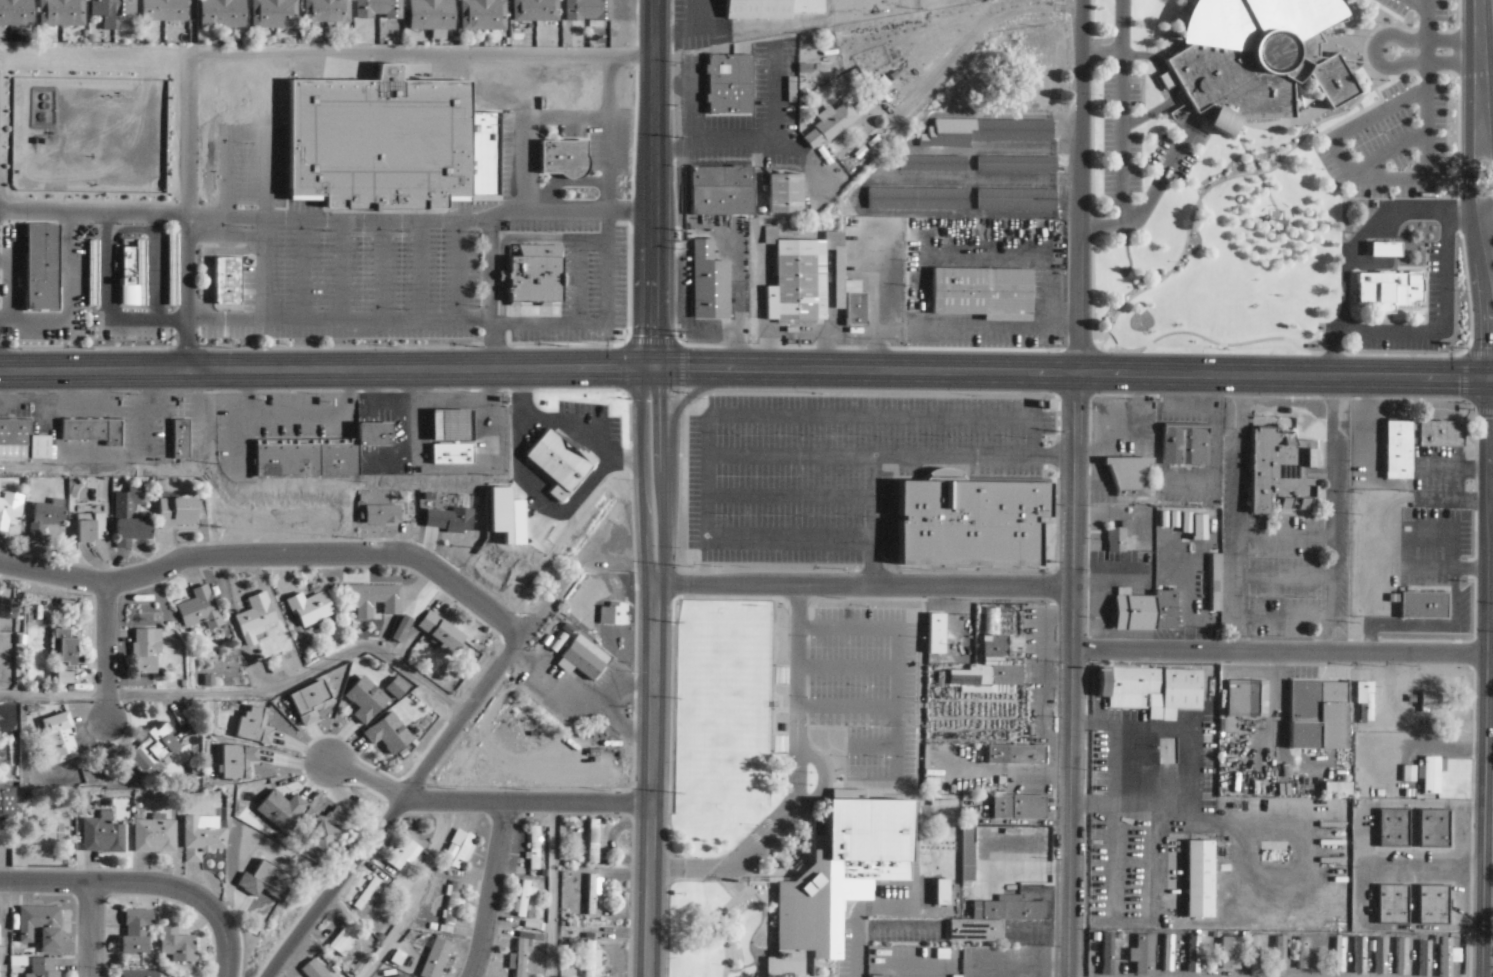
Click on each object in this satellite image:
road: (1353, 2)
road: (1416, 4)
building: (768, 8)
building: (379, 9)
building: (112, 11)
building: (164, 11)
building: (536, 11)
building: (589, 11)
building: (327, 12)
building: (16, 14)
building: (61, 14)
building: (222, 14)
building: (275, 14)
building: (431, 15)
building: (484, 16)
road: (1437, 33)
road: (968, 40)
road: (1092, 40)
road: (1099, 44)
road: (1427, 47)
road: (1102, 53)
road: (326, 54)
building: (1254, 58)
road: (1448, 64)
road: (1156, 68)
road: (1089, 71)
road: (1478, 71)
road: (654, 74)
road: (1173, 76)
road: (1093, 78)
building: (882, 81)
building: (728, 84)
road: (1173, 88)
road: (1486, 88)
building: (790, 89)
building: (875, 90)
road: (1144, 105)
road: (1129, 111)
road: (1122, 113)
parking lot: (1398, 114)
building: (828, 124)
building: (985, 131)
building: (388, 143)
road: (1487, 150)
parking lot: (1139, 155)
building: (562, 159)
building: (933, 163)
building: (1017, 164)
road: (1359, 176)
road: (1468, 179)
road: (1080, 186)
building: (719, 190)
road: (1153, 191)
building: (783, 193)
building: (917, 198)
road: (1460, 198)
building: (1016, 199)
road: (1488, 206)
road: (187, 212)
building: (1383, 250)
road: (1490, 257)
building: (40, 267)
building: (127, 267)
building: (171, 270)
building: (92, 273)
building: (534, 275)
building: (225, 280)
building: (135, 281)
building: (708, 282)
building: (811, 282)
building: (1388, 290)
building: (981, 292)
road: (1174, 334)
road: (642, 366)
road: (661, 366)
traffic signals: (643, 370)
traffic signals: (662, 370)
road: (746, 370)
traffic signals: (1490, 380)
road: (696, 391)
road: (749, 416)
building: (447, 426)
building: (92, 434)
building: (1440, 436)
building: (179, 438)
building: (21, 443)
building: (1186, 449)
building: (1397, 452)
building: (449, 453)
building: (317, 454)
road: (892, 457)
building: (557, 459)
parking lot: (837, 469)
building: (1280, 471)
building: (1128, 476)
road: (789, 497)
building: (8, 512)
building: (175, 512)
building: (383, 516)
building: (969, 519)
building: (446, 521)
road: (871, 521)
building: (43, 522)
building: (1198, 527)
building: (132, 532)
building: (90, 534)
building: (1114, 539)
road: (270, 555)
building: (1213, 582)
road: (862, 585)
road: (1487, 595)
road: (909, 597)
building: (372, 602)
building: (1422, 605)
road: (788, 609)
building: (5, 610)
building: (197, 610)
building: (309, 610)
building: (1144, 611)
building: (612, 613)
building: (255, 620)
road: (1490, 622)
building: (400, 630)
building: (934, 634)
building: (441, 637)
building: (146, 643)
building: (1001, 645)
building: (63, 653)
road: (105, 653)
road: (1278, 653)
road: (636, 654)
building: (580, 658)
building: (144, 668)
road: (1070, 674)
parking lot: (869, 686)
building: (1149, 690)
road: (247, 692)
road: (580, 698)
building: (1245, 699)
building: (1428, 701)
building: (1364, 702)
building: (306, 704)
road: (469, 706)
building: (945, 710)
road: (1489, 713)
building: (1317, 715)
park: (726, 722)
building: (252, 727)
building: (58, 737)
road: (847, 743)
building: (149, 746)
building: (1015, 754)
building: (235, 763)
building: (1432, 771)
road: (368, 777)
road: (796, 778)
road: (651, 781)
road: (822, 781)
building: (6, 800)
road: (527, 802)
building: (1017, 807)
building: (279, 809)
building: (1393, 825)
building: (1433, 826)
building: (321, 831)
building: (154, 832)
building: (103, 833)
building: (202, 835)
building: (594, 839)
building: (534, 846)
building: (461, 848)
building: (404, 851)
building: (966, 854)
building: (839, 872)
building: (1199, 876)
building: (263, 882)
road: (105, 884)
road: (334, 886)
road: (488, 890)
building: (367, 891)
building: (940, 892)
building: (592, 893)
building: (524, 897)
building: (1392, 903)
building: (1432, 903)
building: (451, 907)
building: (993, 918)
building: (40, 925)
building: (134, 929)
road: (0, 930)
road: (88, 930)
park: (720, 931)
building: (341, 934)
building: (1132, 935)
building: (1215, 937)
road: (223, 938)
building: (174, 946)
building: (1422, 948)
building: (1171, 949)
building: (1406, 949)
building: (1110, 950)
building: (1230, 950)
building: (1319, 950)
building: (1302, 951)
building: (1146, 952)
building: (1190, 952)
building: (1254, 953)
building: (1279, 954)
building: (1349, 954)
building: (1372, 954)
building: (1389, 954)
building: (1445, 955)
building: (432, 956)
building: (1337, 956)
building: (521, 957)
building: (590, 957)
building: (1127, 965)
building: (42, 967)
park: (823, 967)
building: (306, 970)
building: (139, 973)
building: (881, 975)

